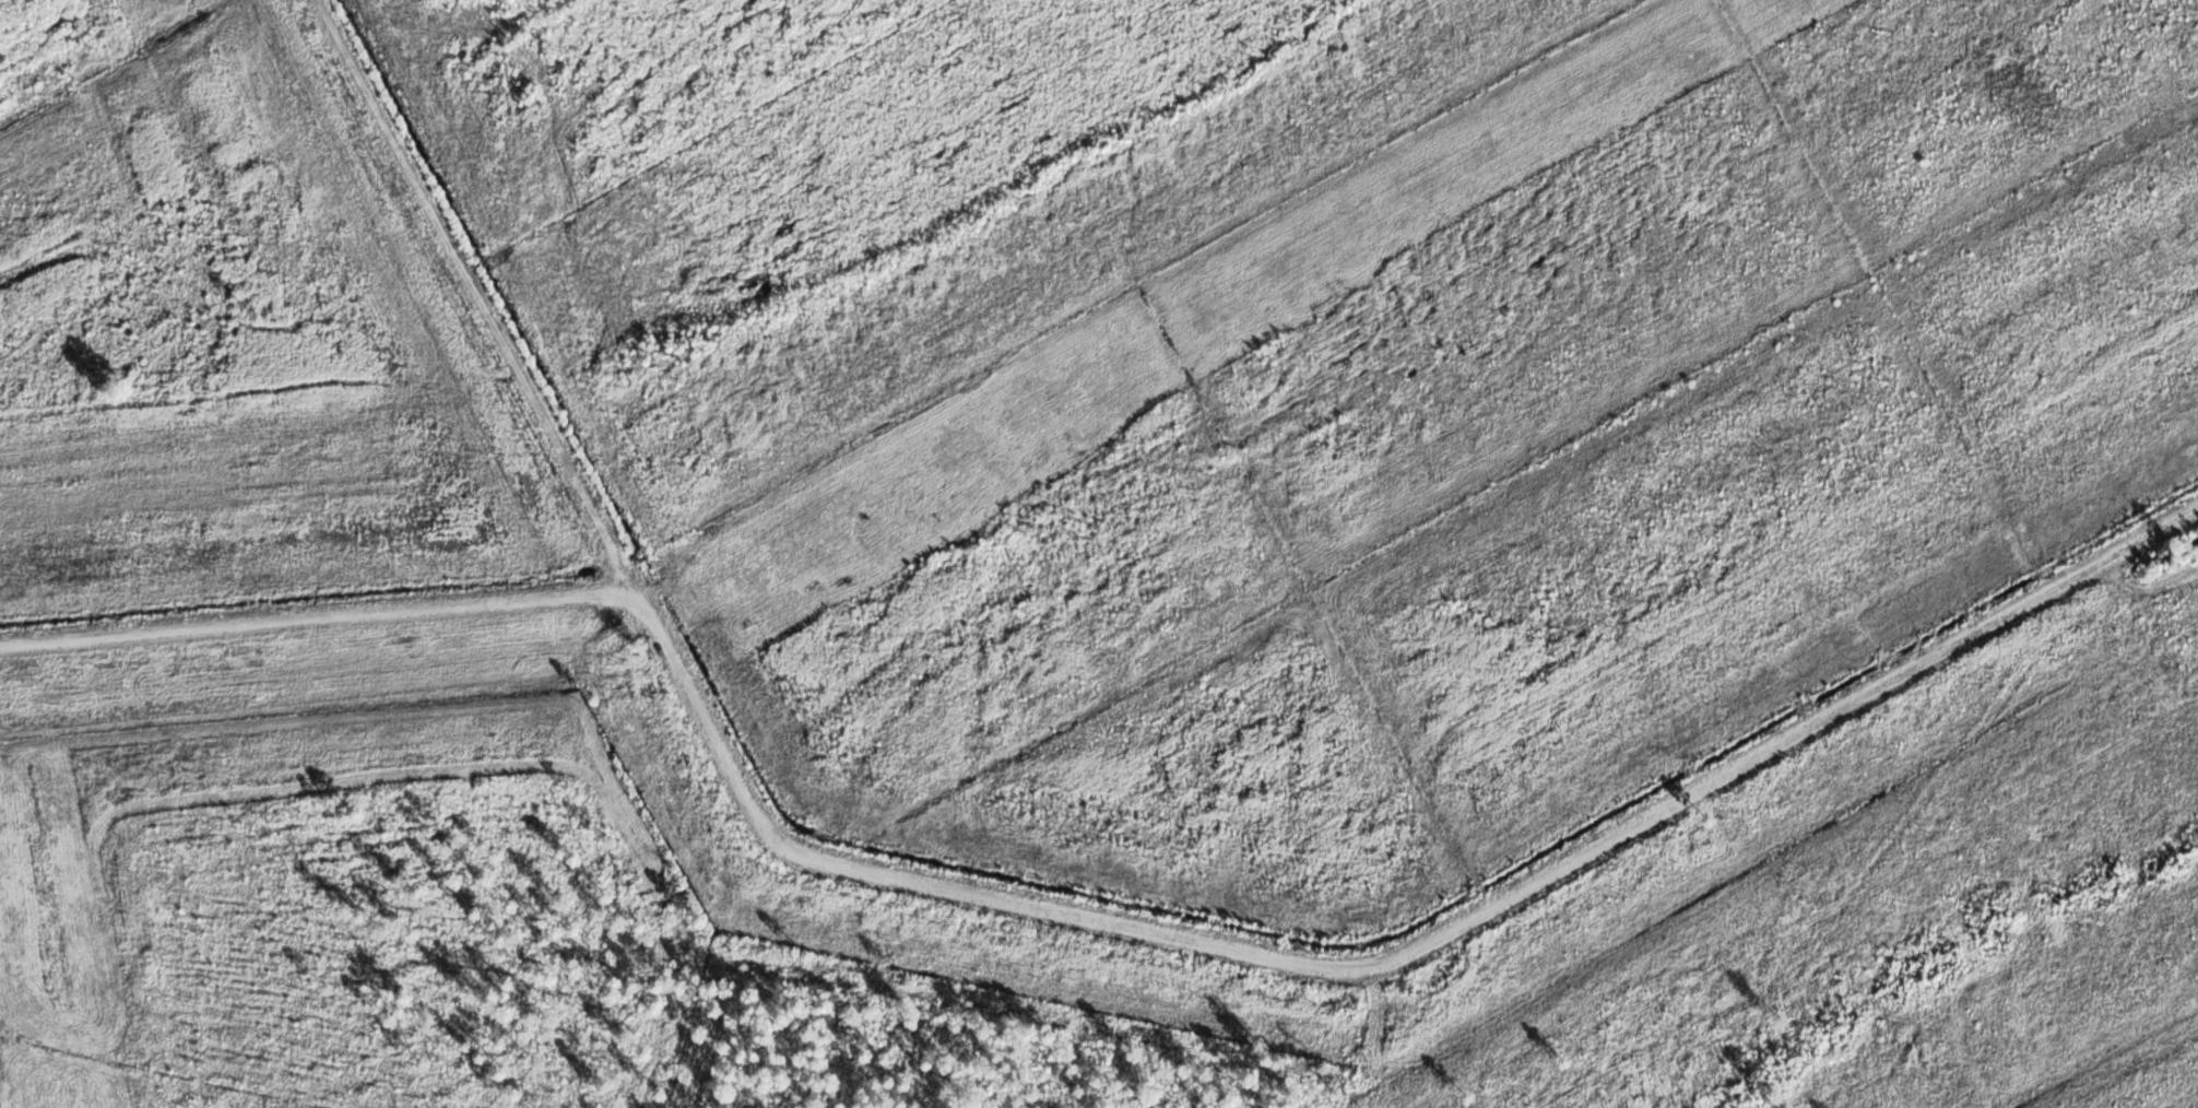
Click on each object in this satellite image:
road: (305, 693)
road: (1011, 986)

